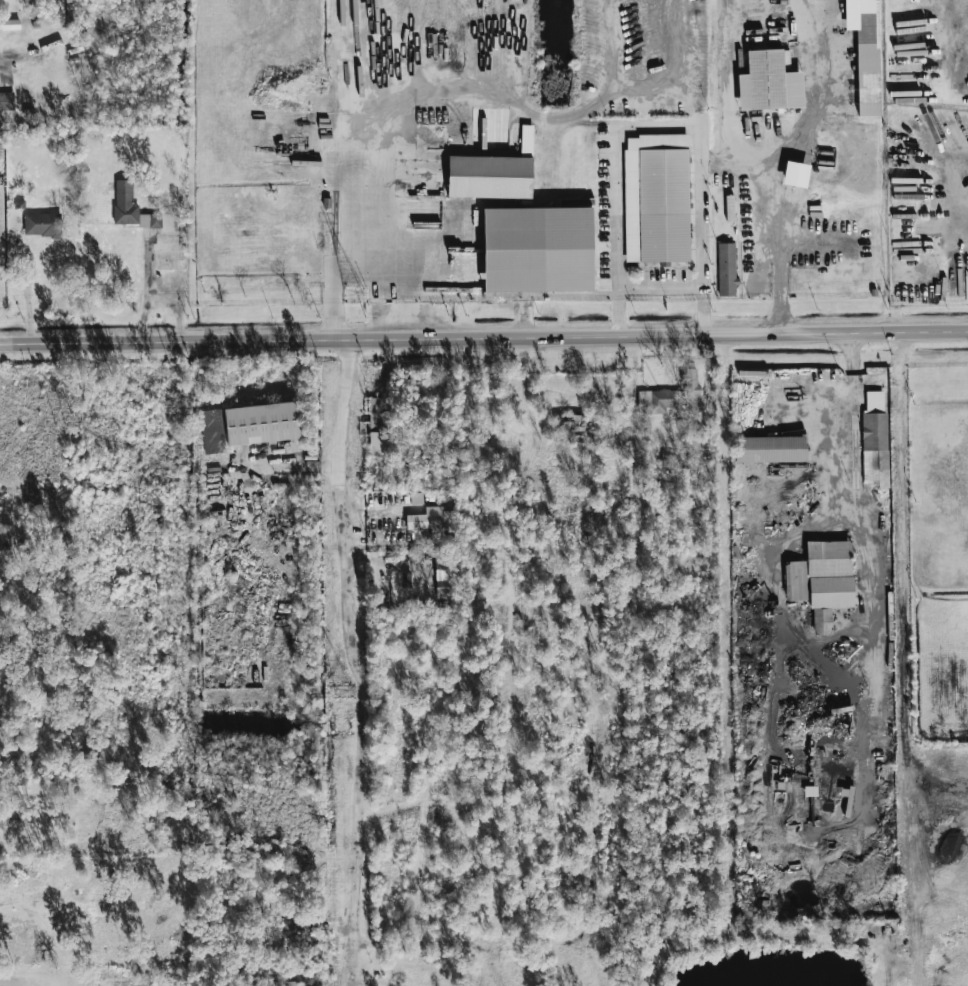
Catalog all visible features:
building: (9, 25)
building: (865, 53)
road: (1, 61)
building: (769, 83)
road: (429, 87)
road: (815, 87)
building: (7, 101)
road: (659, 127)
road: (759, 160)
building: (796, 174)
building: (489, 177)
building: (657, 198)
building: (131, 208)
building: (43, 225)
building: (537, 250)
building: (727, 269)
road: (147, 288)
power tower: (355, 294)
road: (336, 322)
road: (484, 337)
building: (658, 401)
building: (378, 413)
building: (262, 423)
building: (212, 431)
building: (875, 440)
building: (379, 443)
building: (770, 449)
road: (288, 463)
building: (415, 498)
building: (430, 520)
road: (856, 523)
building: (444, 567)
building: (406, 579)
building: (822, 581)
building: (444, 583)
building: (444, 592)
road: (355, 662)
power tower: (346, 692)
building: (280, 852)
building: (294, 922)

